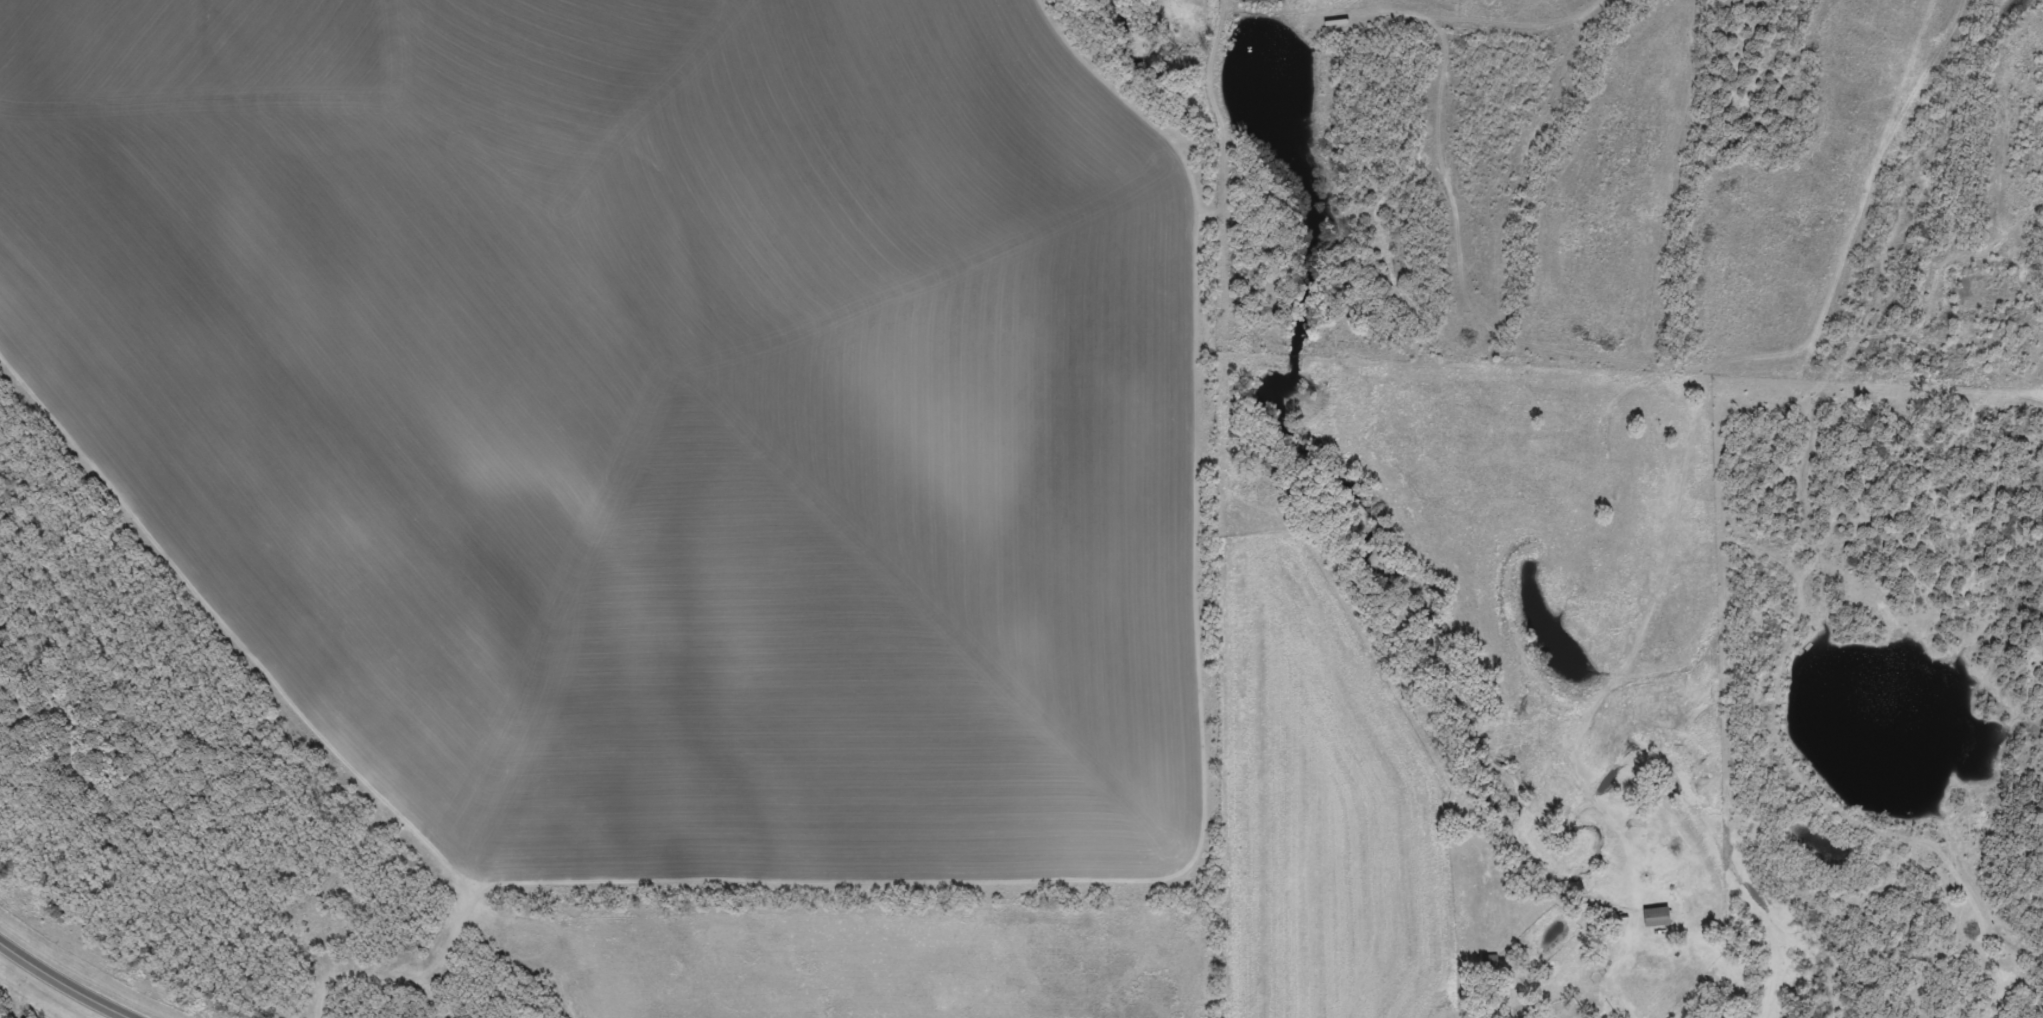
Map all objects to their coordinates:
building: (1653, 925)
road: (66, 981)

